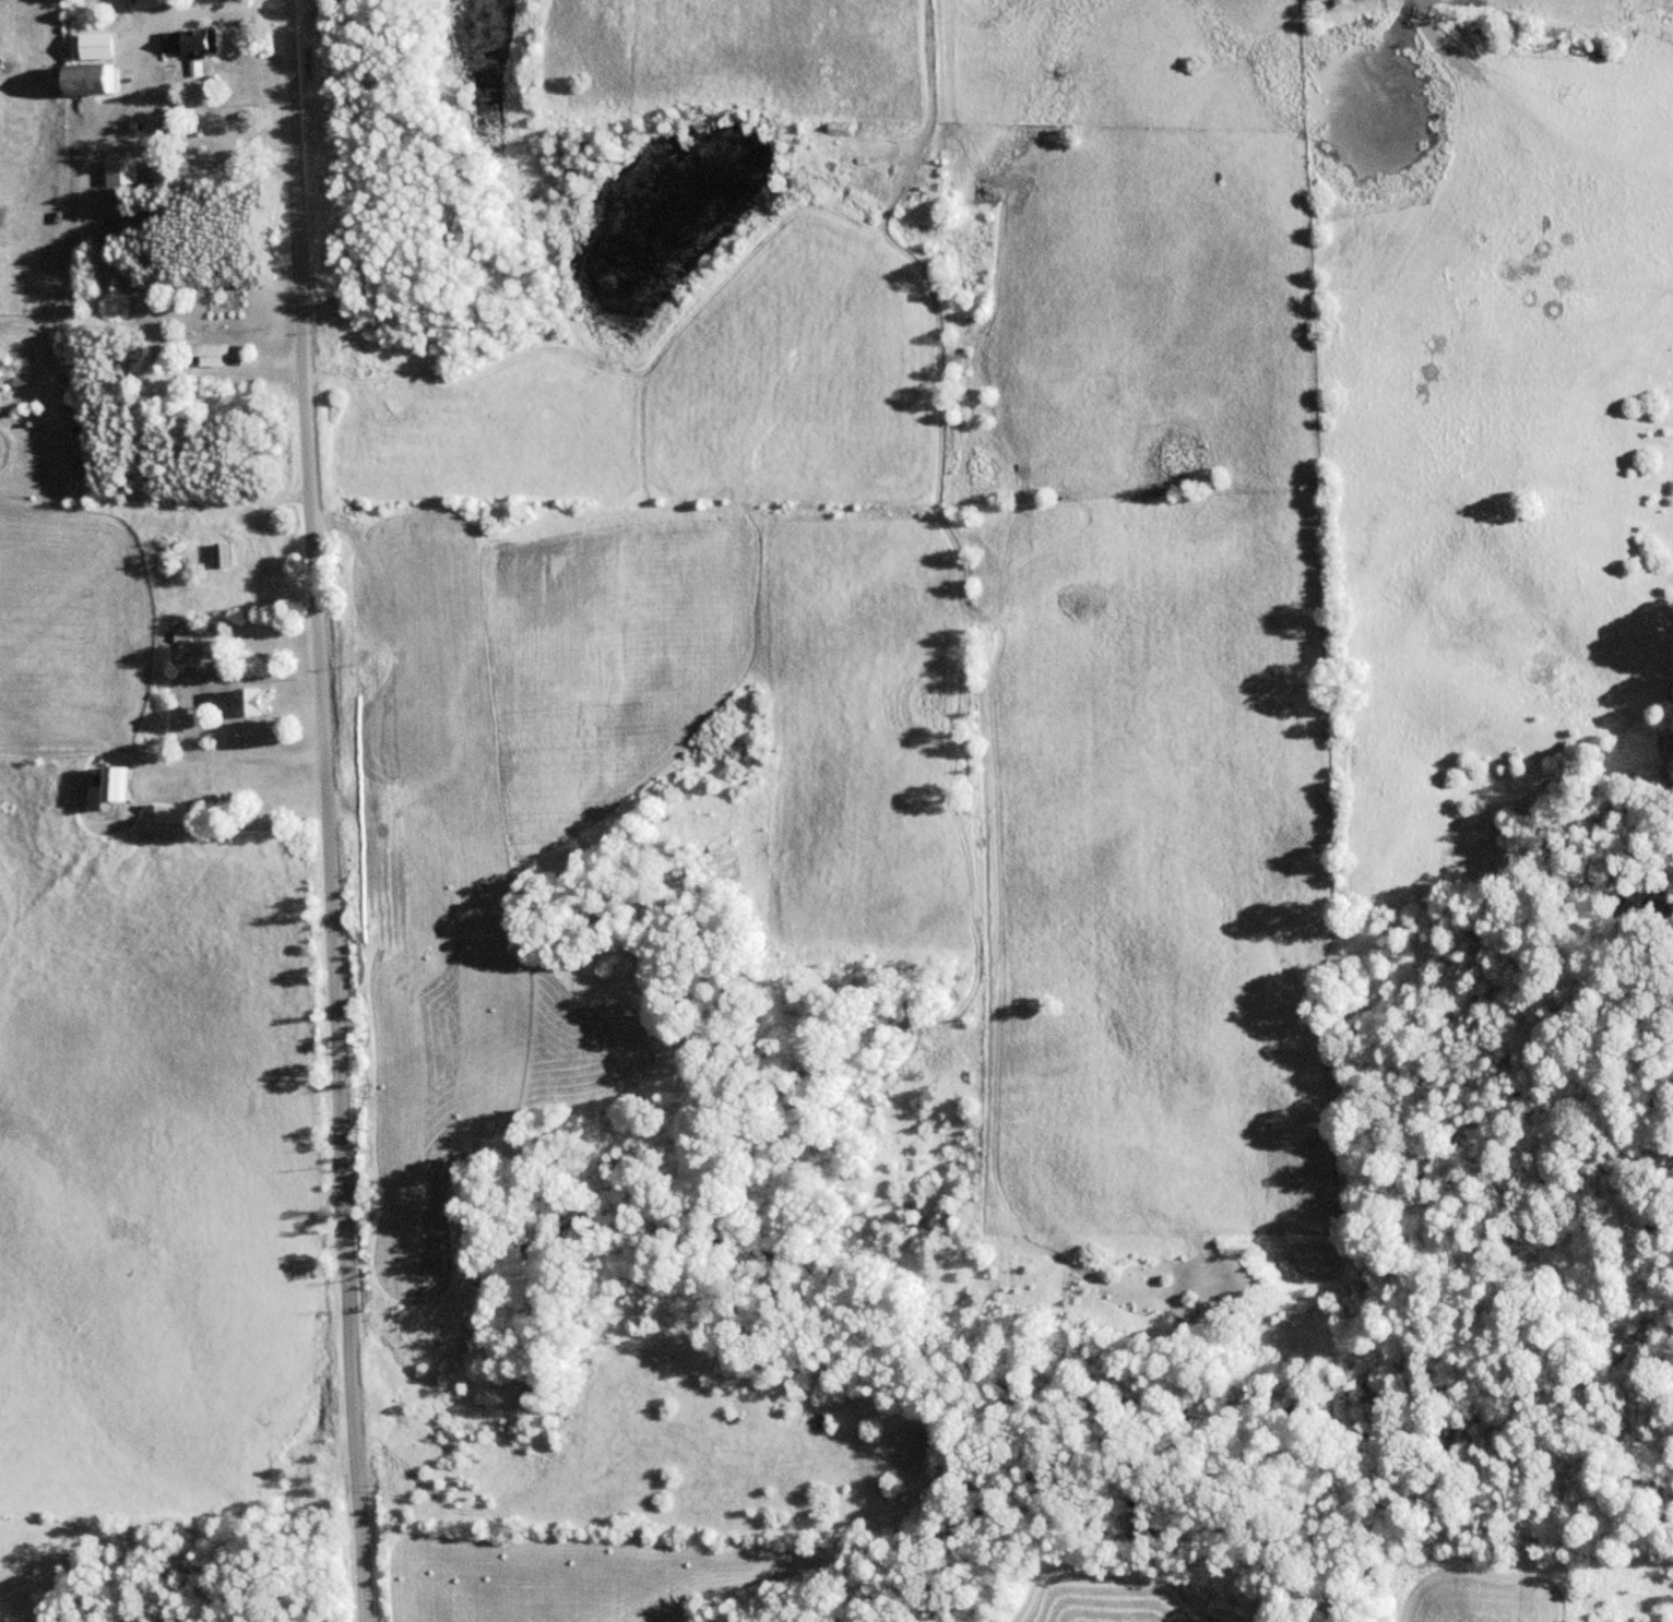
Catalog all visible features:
building: (192, 40)
building: (100, 44)
building: (96, 77)
building: (124, 170)
building: (211, 355)
building: (224, 554)
building: (254, 701)
building: (116, 789)
road: (325, 810)
building: (175, 813)

